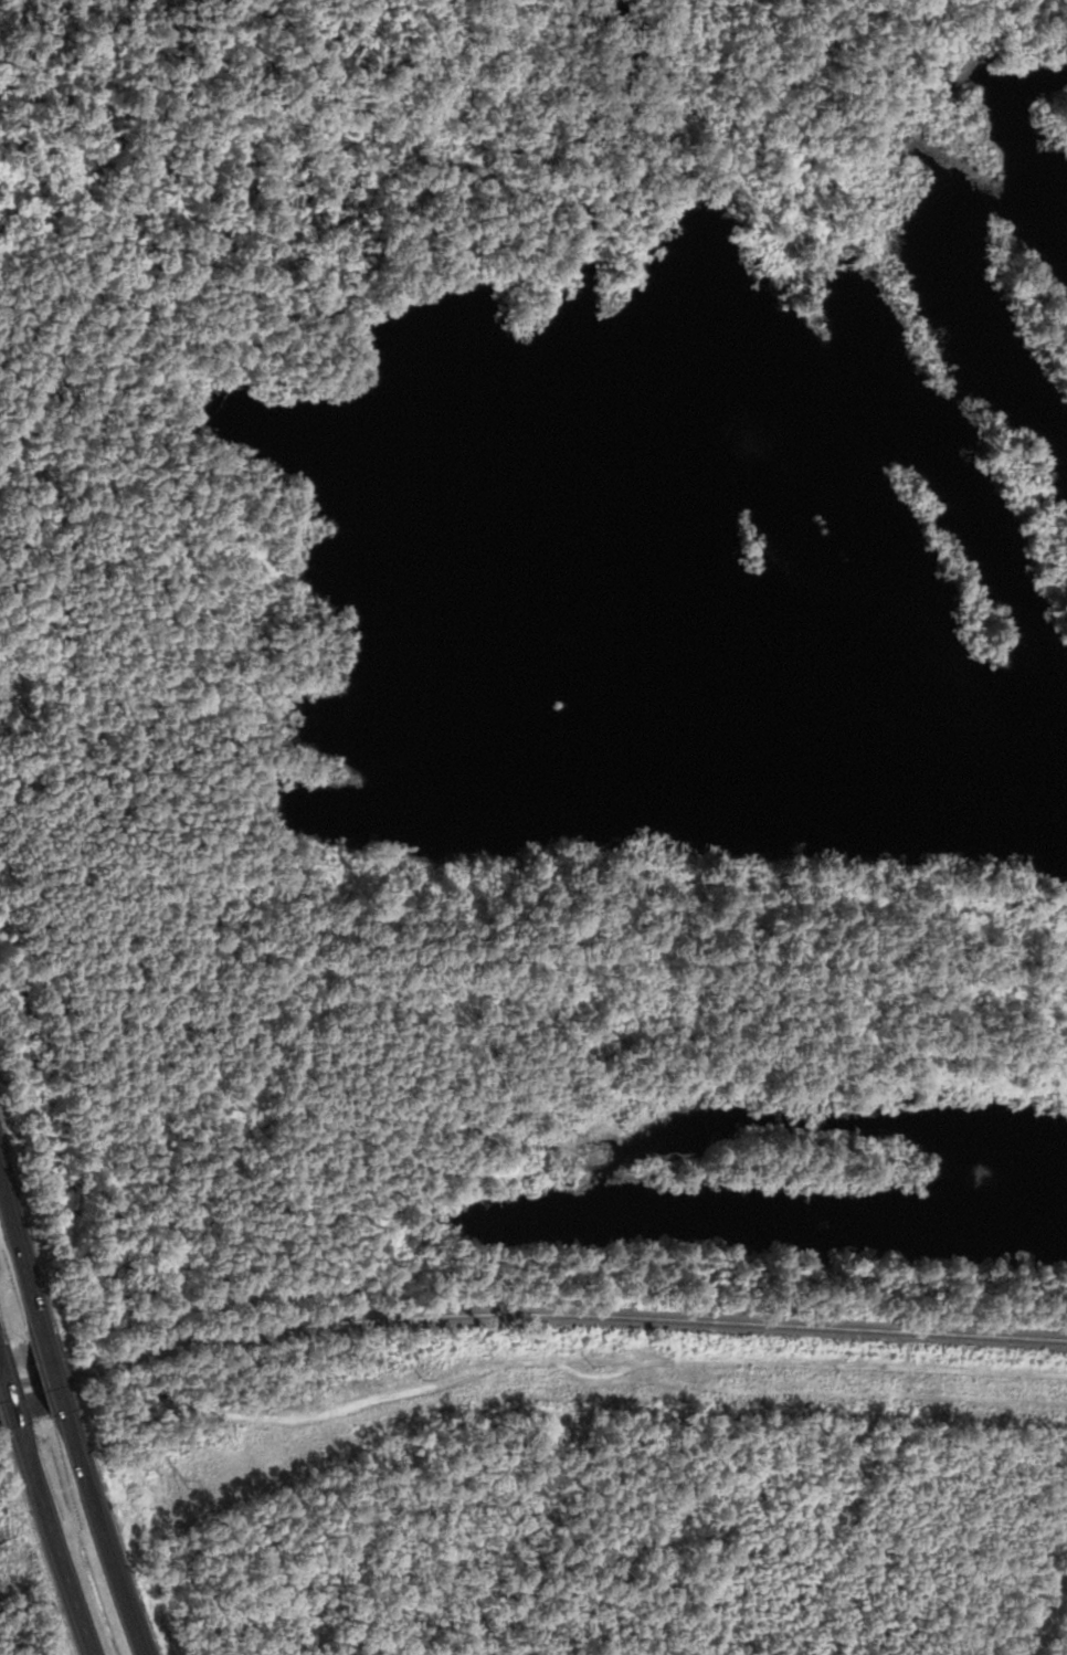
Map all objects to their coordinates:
road: (18, 1271)
railway: (529, 1305)
power tower: (594, 1367)
road: (46, 1374)
power tower: (423, 1379)
power tower: (849, 1381)
road: (4, 1411)
power tower: (186, 1483)
road: (97, 1535)
road: (46, 1541)

